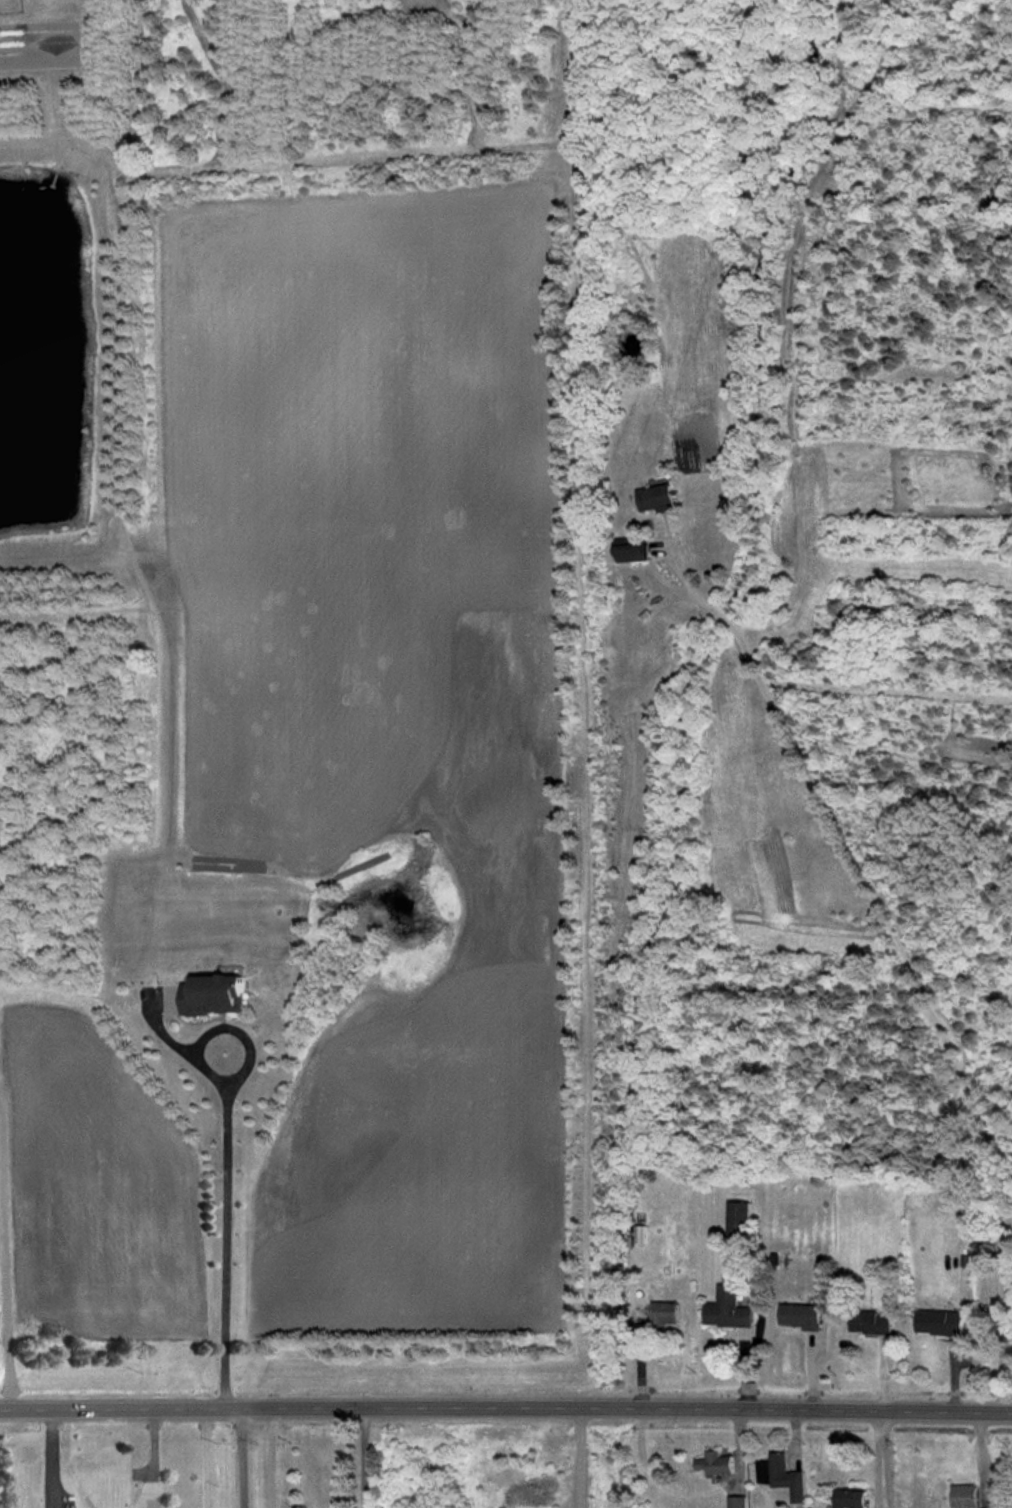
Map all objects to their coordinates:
building: (657, 498)
building: (632, 552)
road: (908, 963)
building: (215, 995)
building: (739, 1219)
road: (225, 1231)
building: (727, 1309)
building: (665, 1314)
building: (800, 1316)
building: (869, 1322)
building: (940, 1322)
road: (506, 1405)
road: (49, 1457)
road: (205, 1457)
road: (238, 1457)
road: (267, 1457)
road: (363, 1457)
road: (149, 1458)
road: (874, 1458)
road: (883, 1458)
building: (715, 1463)
building: (780, 1478)
building: (963, 1496)
building: (850, 1498)
building: (737, 1502)

